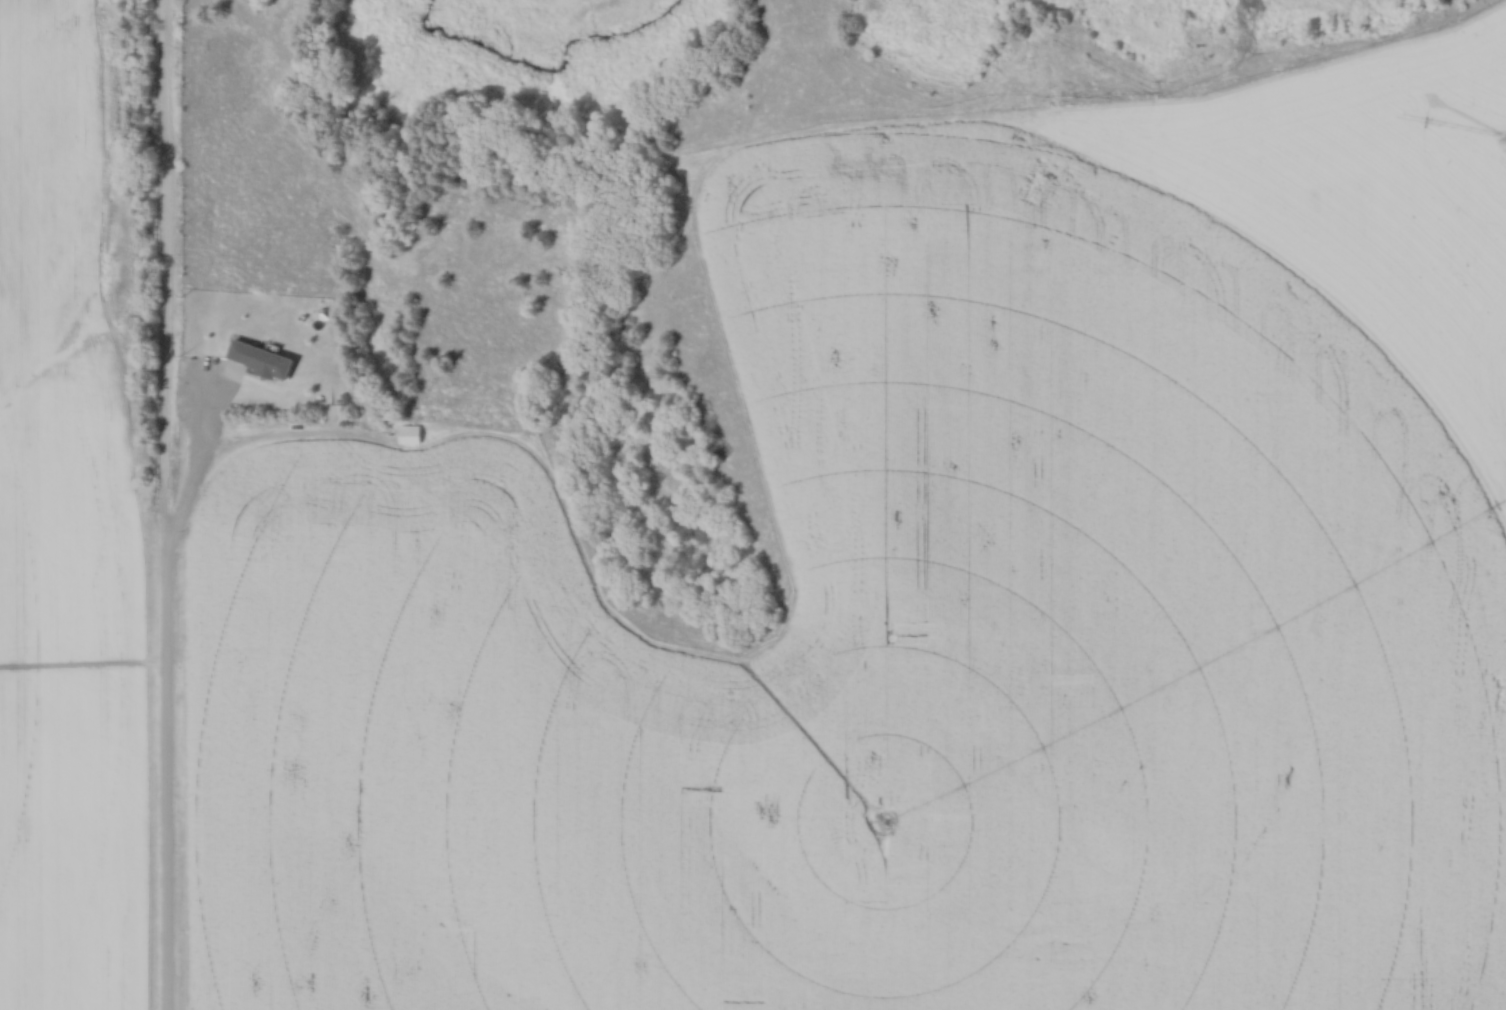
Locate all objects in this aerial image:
road: (165, 505)

